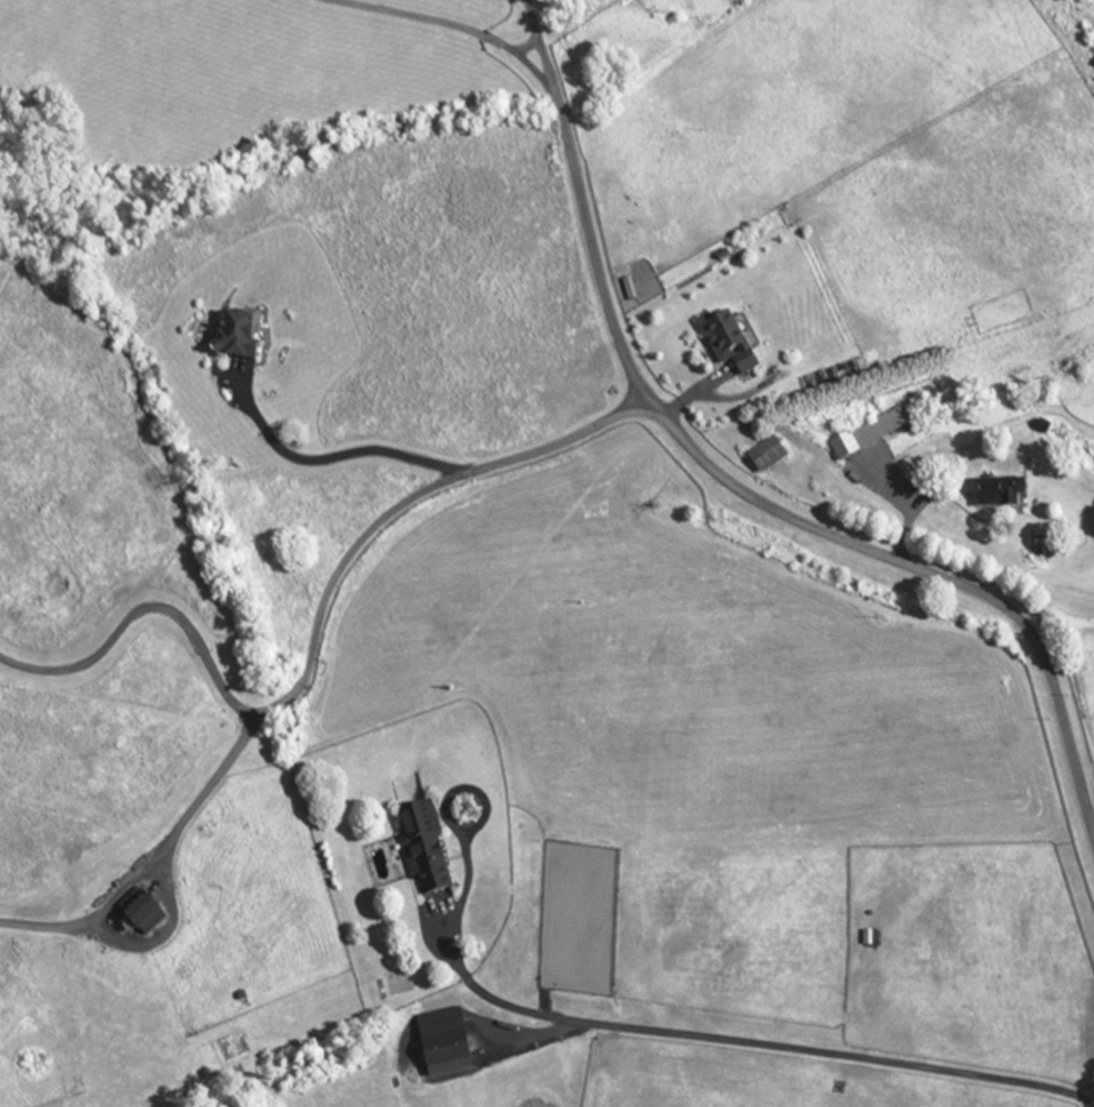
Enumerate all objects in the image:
road: (445, 23)
building: (231, 336)
building: (724, 342)
building: (1068, 360)
building: (865, 435)
road: (340, 456)
building: (761, 457)
road: (736, 488)
building: (993, 498)
road: (401, 503)
road: (909, 508)
road: (143, 608)
crop: (1080, 667)
building: (420, 848)
road: (152, 857)
road: (466, 886)
road: (167, 930)
road: (761, 1048)

